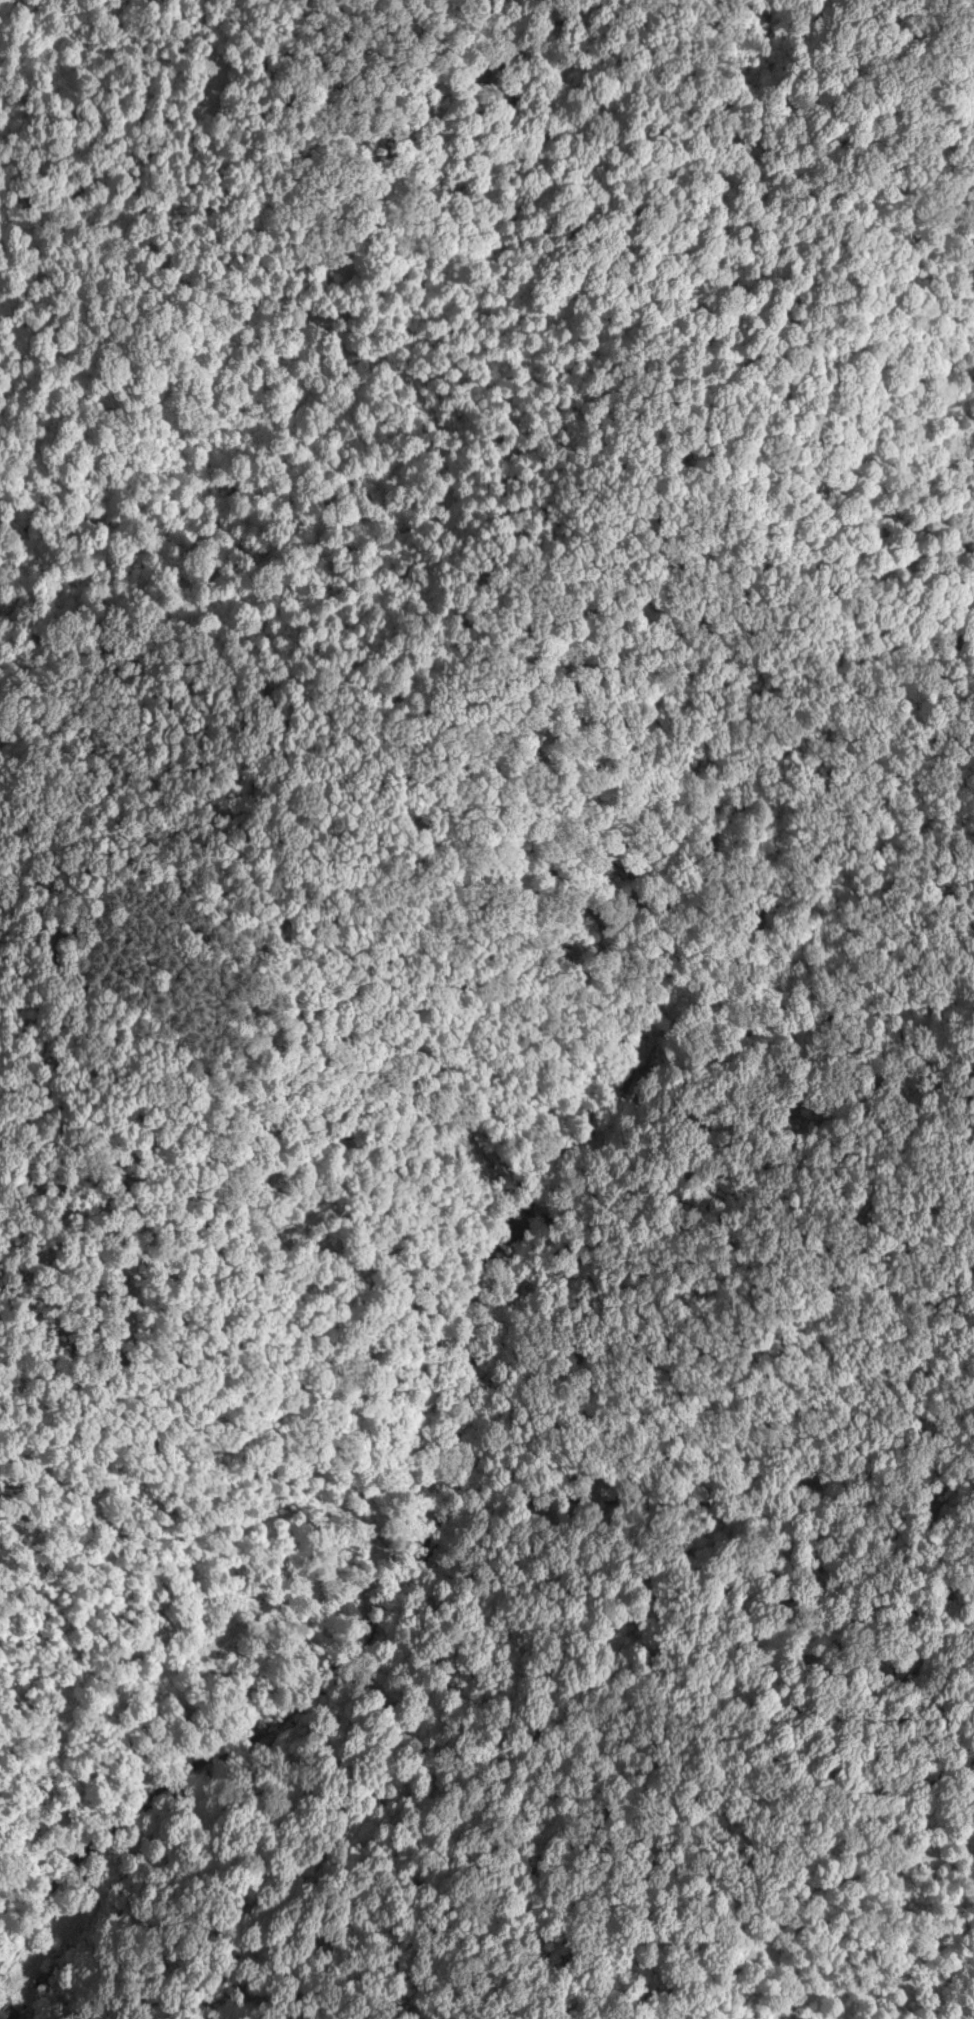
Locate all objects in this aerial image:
building: (46, 1979)

